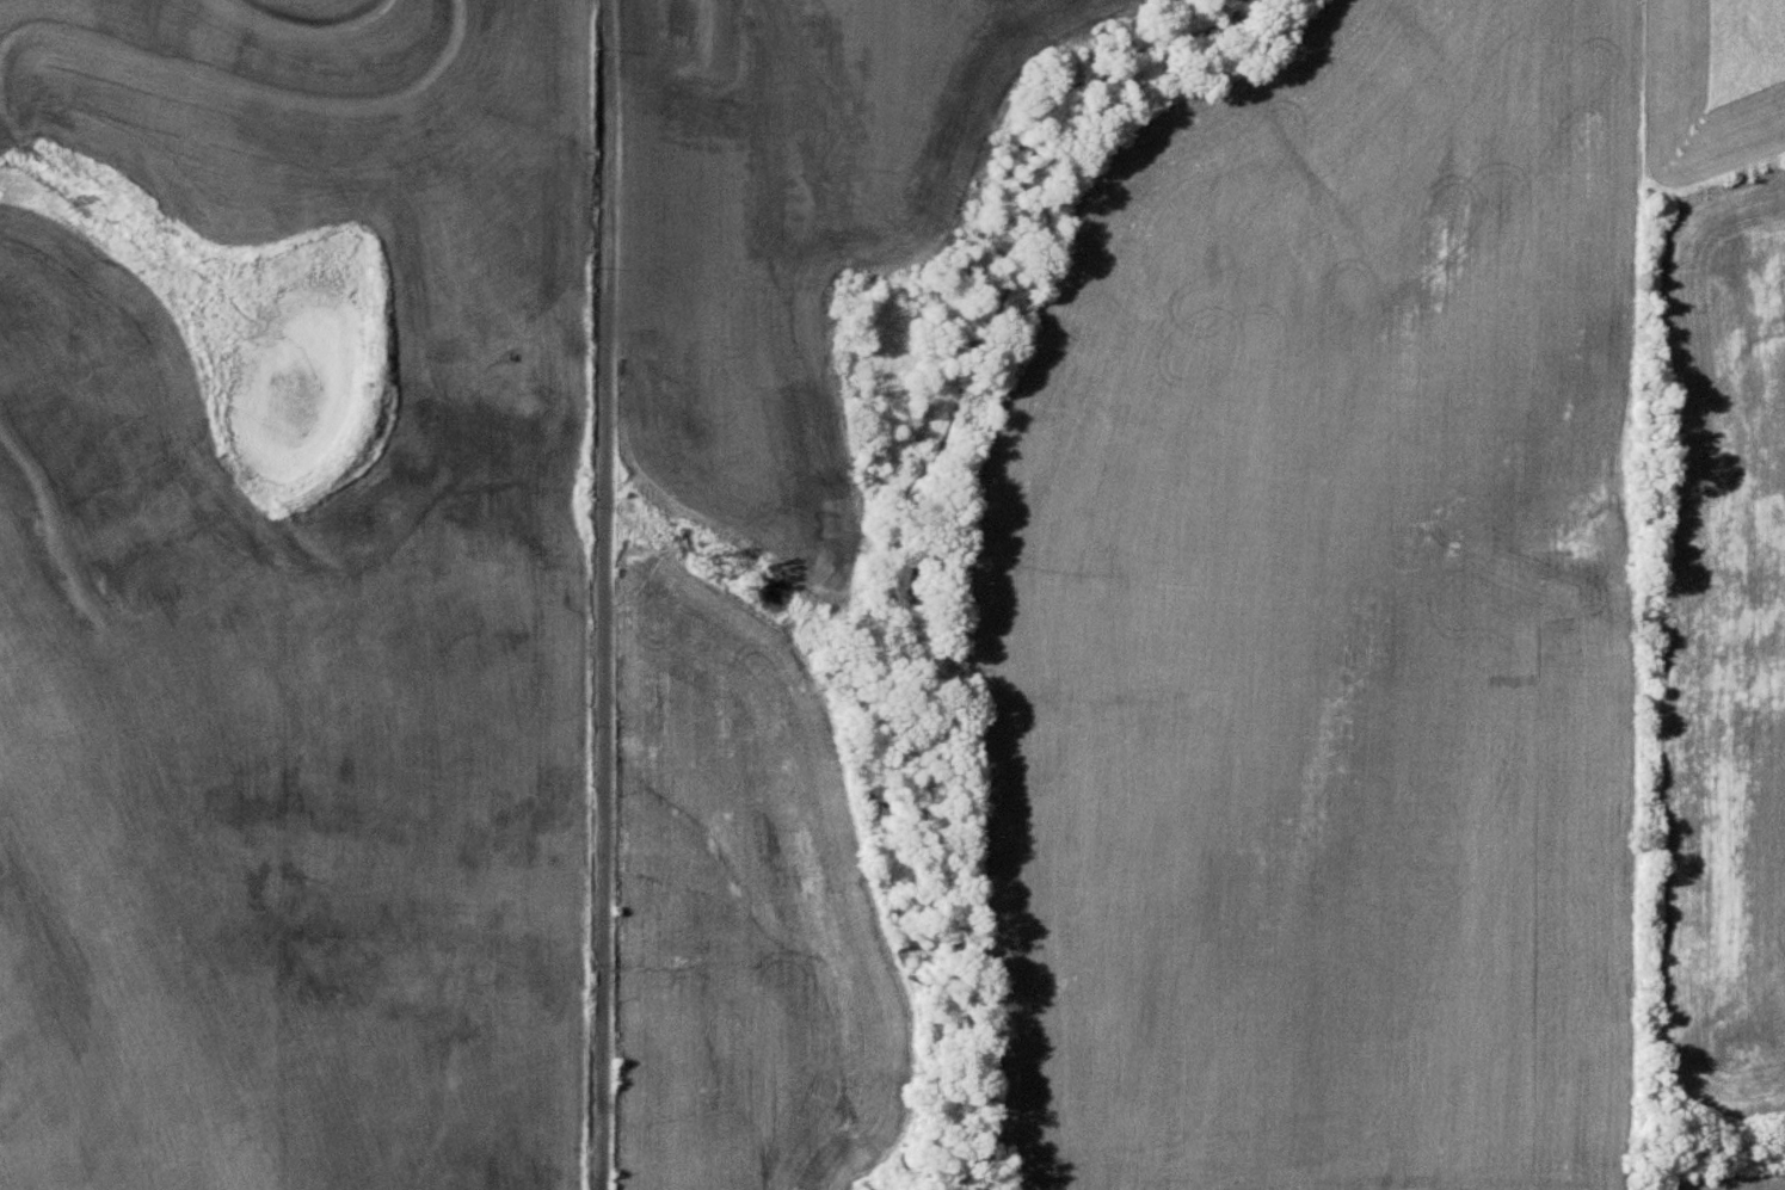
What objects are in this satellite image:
road: (607, 594)

